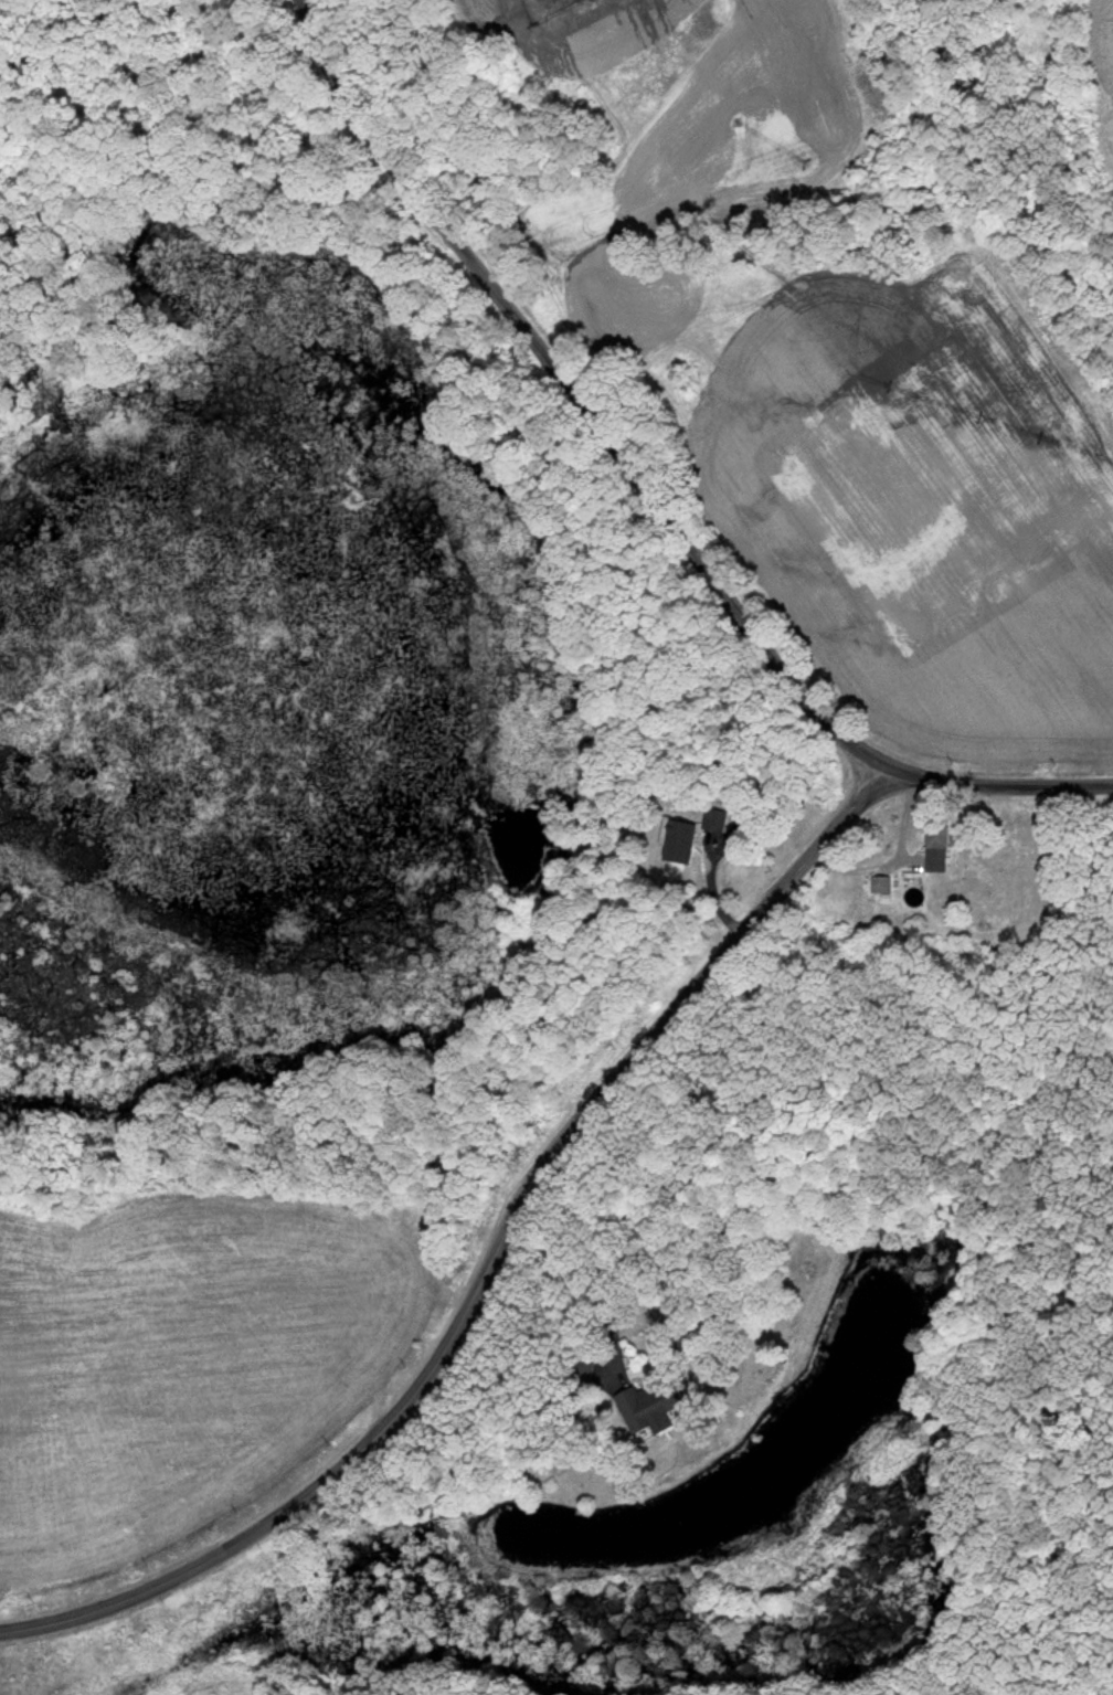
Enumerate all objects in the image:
road: (643, 494)
building: (742, 818)
building: (717, 822)
building: (947, 841)
building: (685, 843)
building: (886, 886)
road: (488, 1270)
building: (660, 1406)

